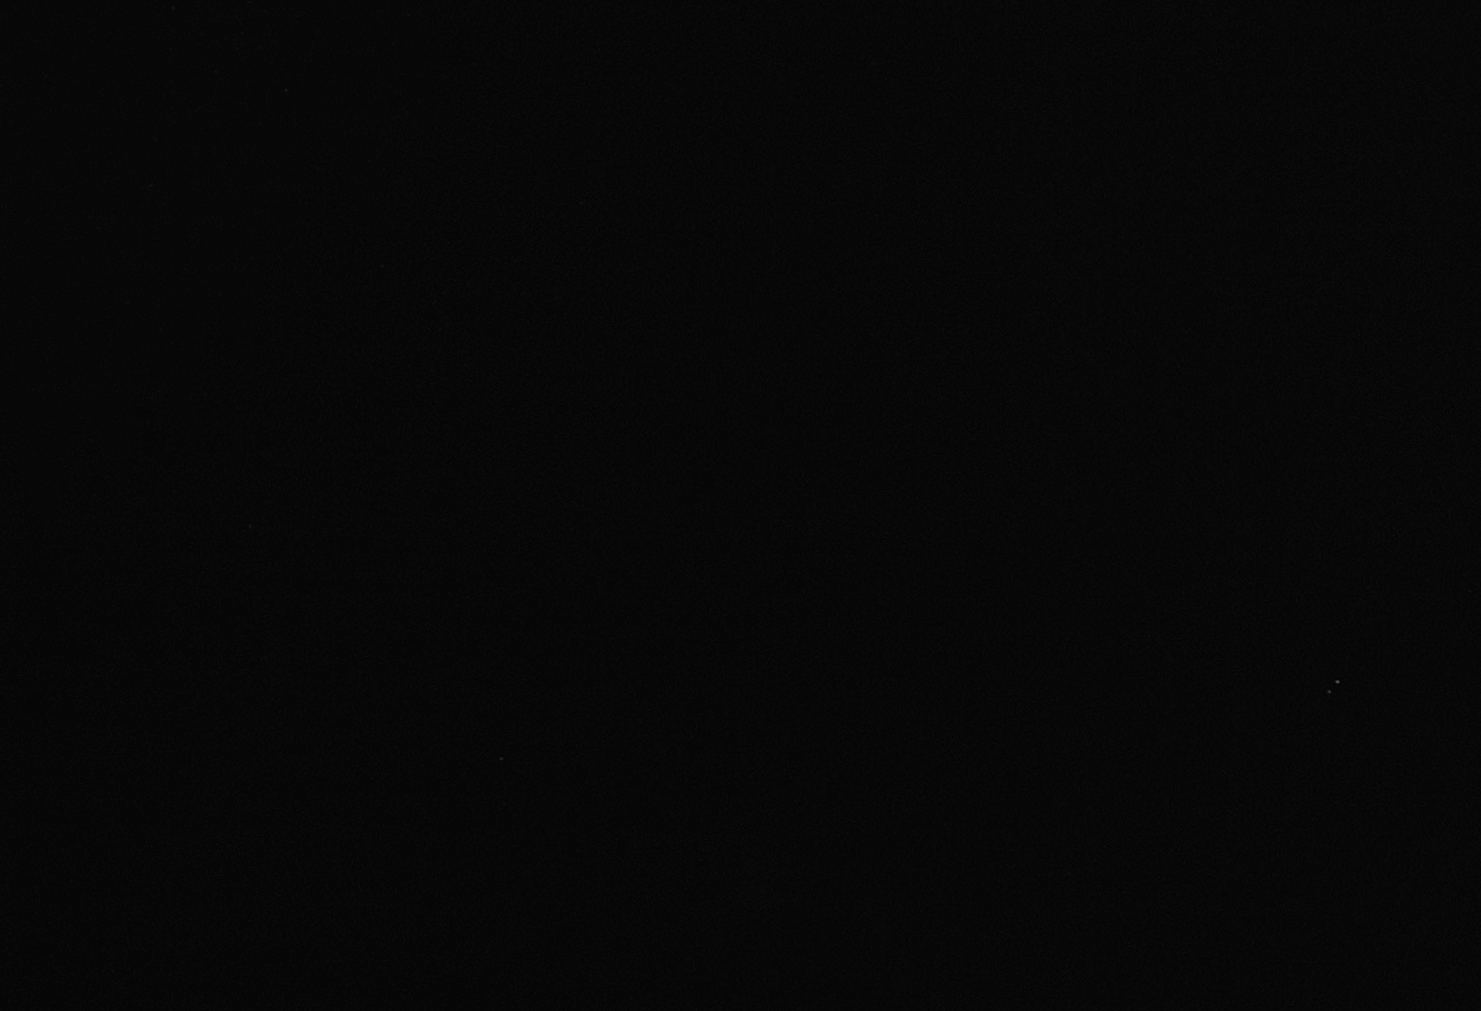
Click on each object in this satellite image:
river: (85, 149)

